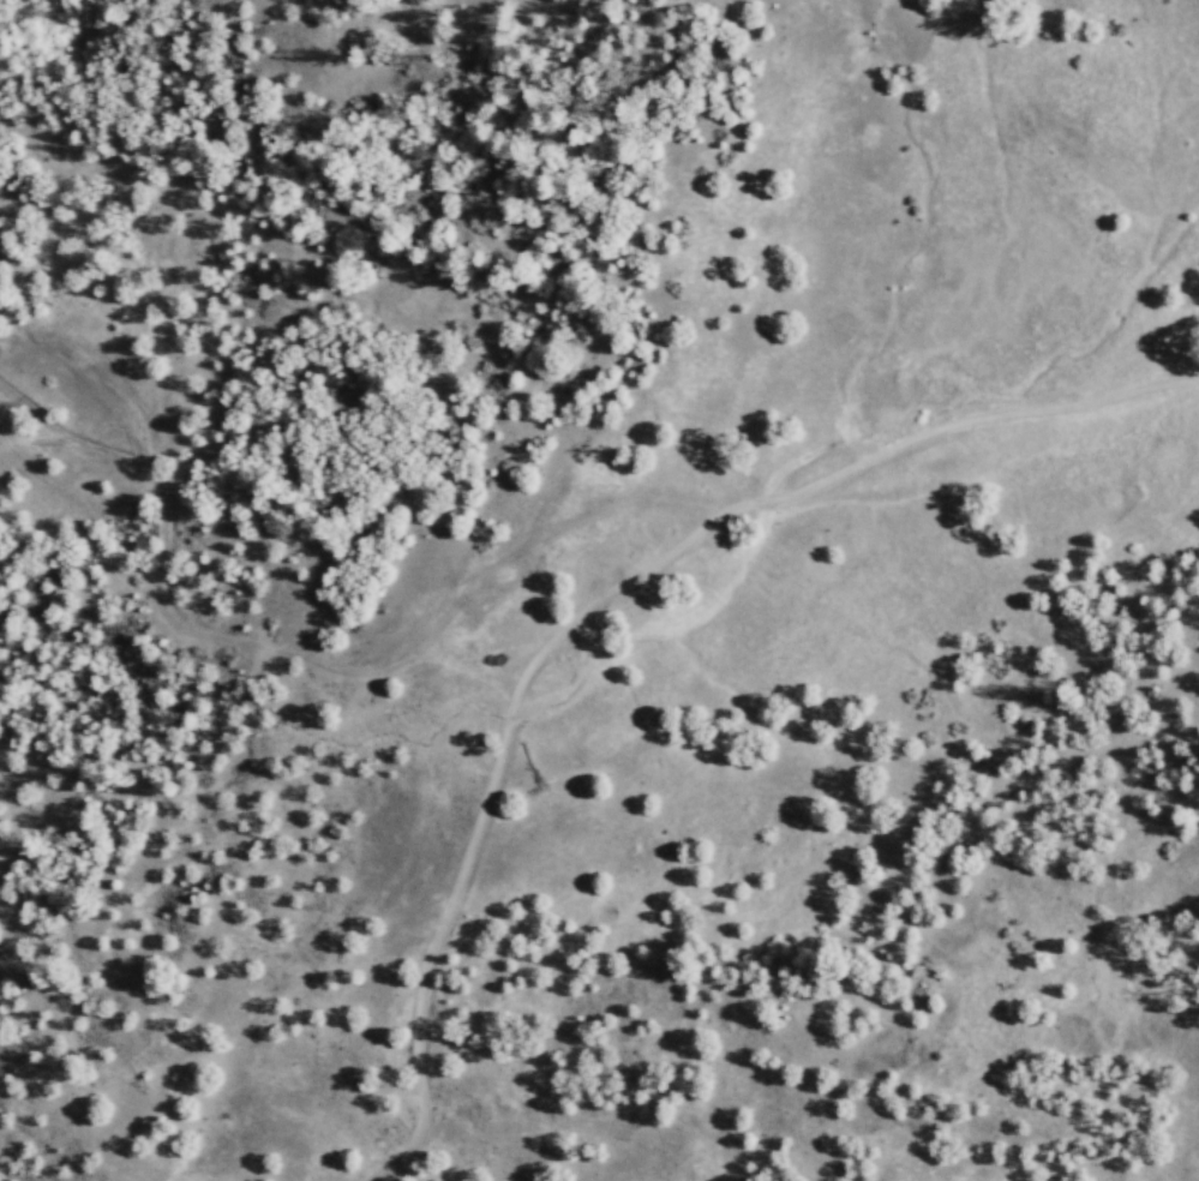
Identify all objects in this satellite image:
road: (958, 421)
road: (302, 664)
road: (480, 807)

